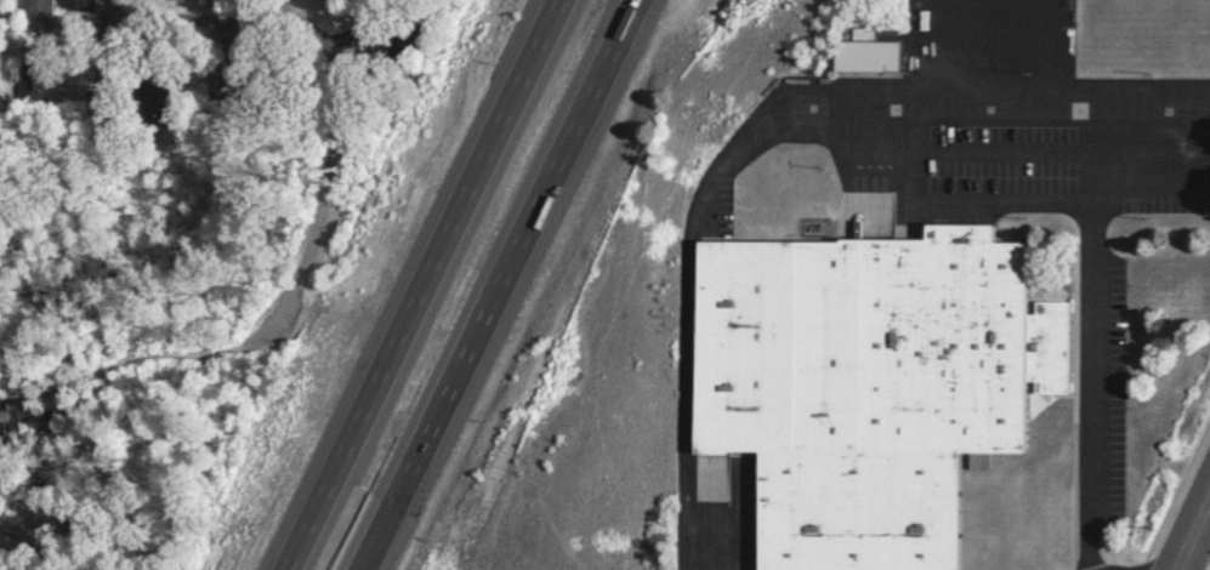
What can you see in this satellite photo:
building: (29, 17)
road: (102, 32)
road: (235, 33)
road: (323, 33)
building: (851, 55)
road: (739, 121)
road: (1085, 156)
road: (407, 285)
road: (490, 285)
road: (282, 296)
building: (851, 384)
road: (1081, 391)
building: (968, 461)
road: (1188, 524)
road: (1198, 530)

